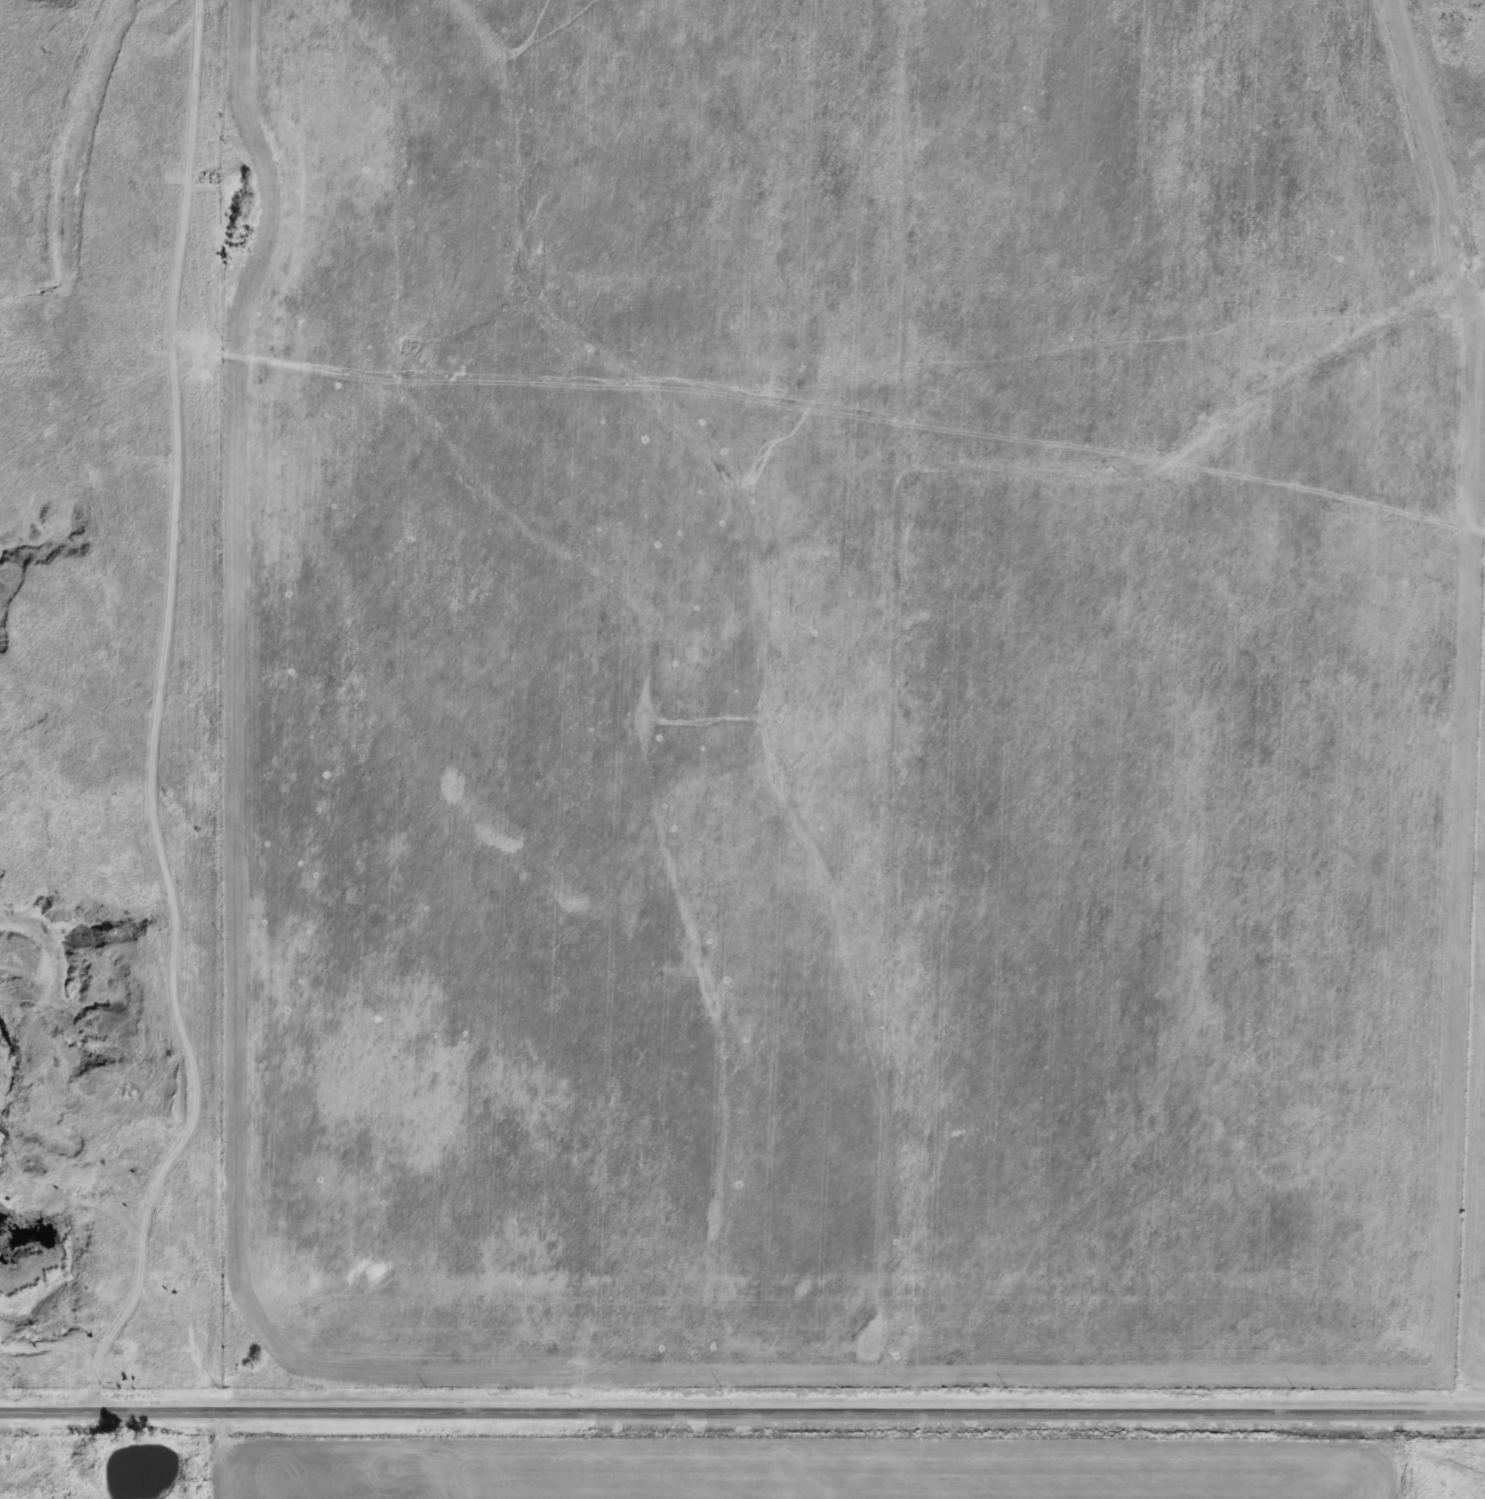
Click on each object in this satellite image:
road: (742, 1410)

